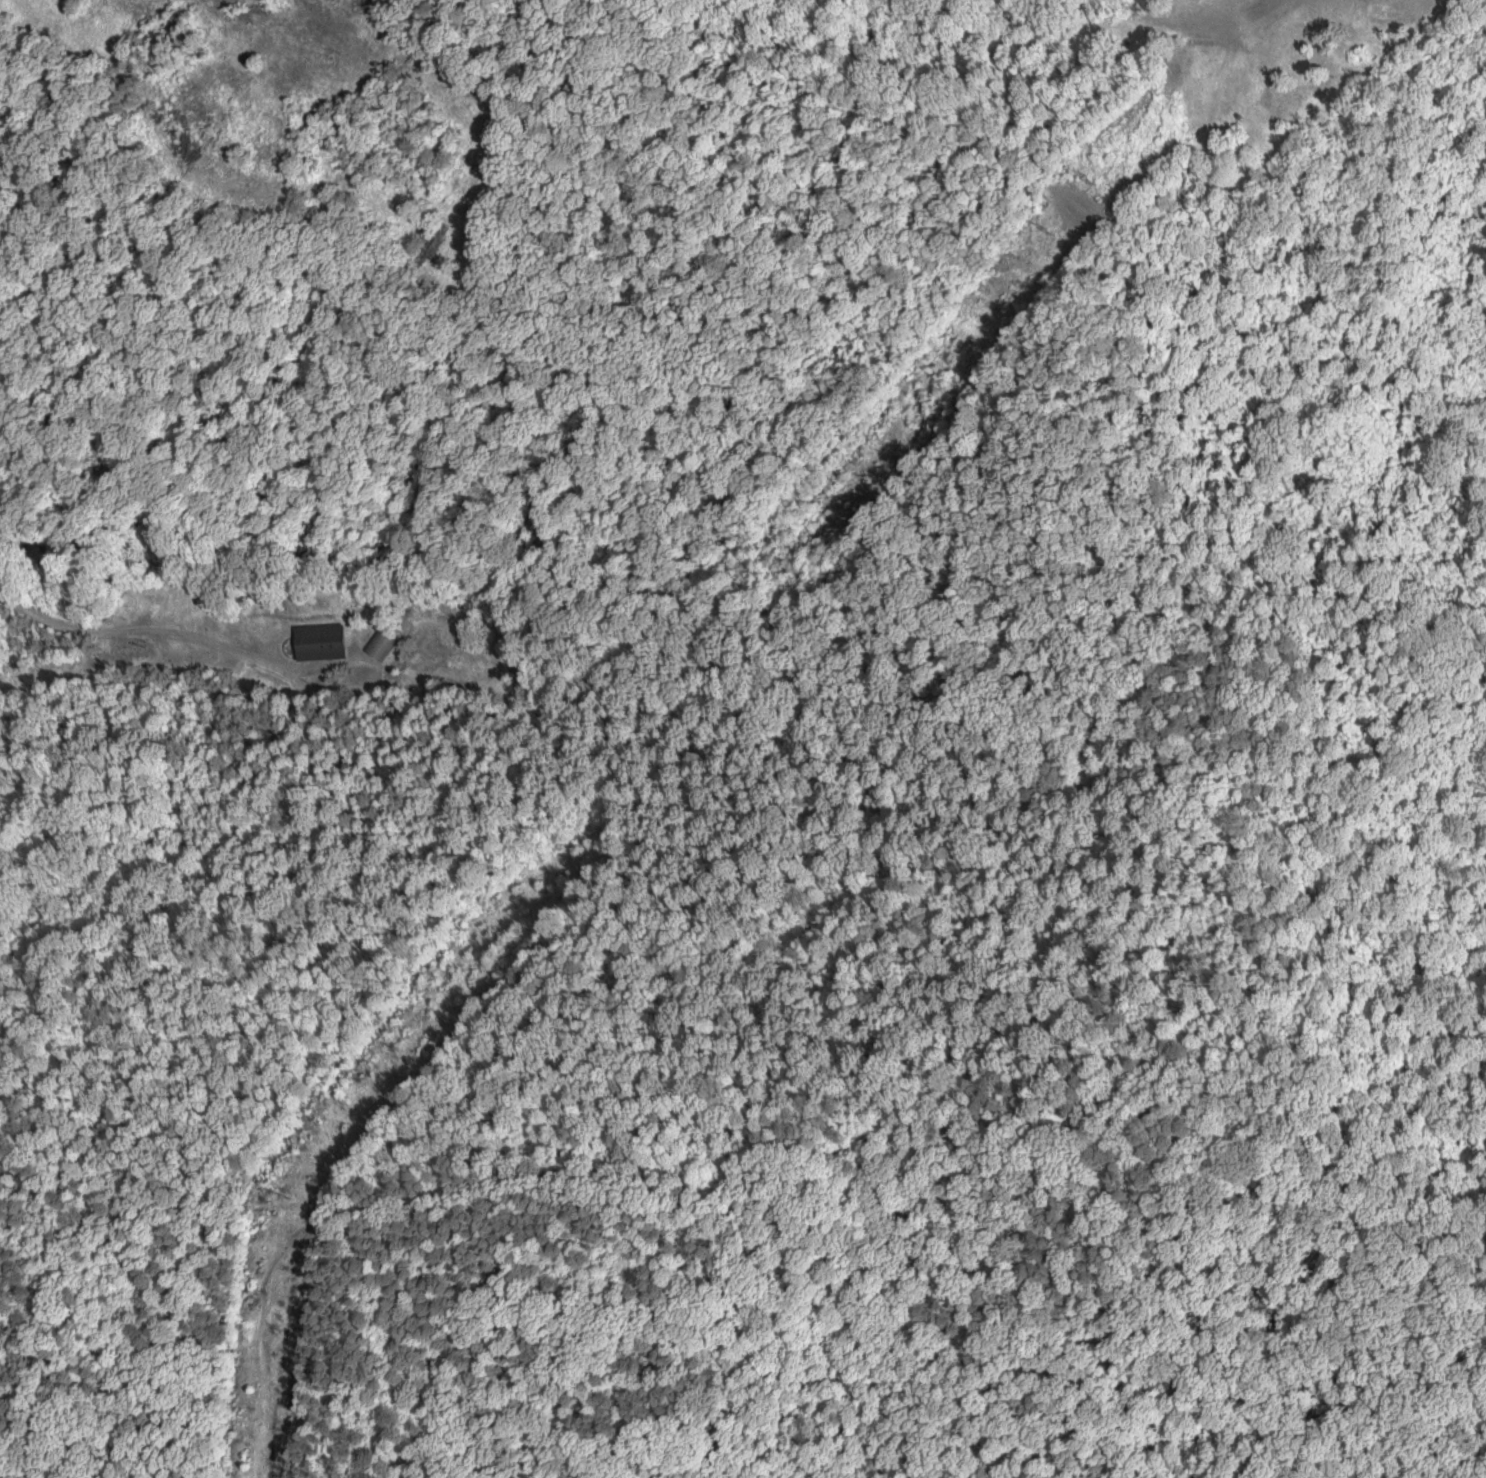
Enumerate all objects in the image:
power tower: (1093, 187)
power tower: (1052, 229)
road: (178, 628)
building: (320, 641)
power tower: (280, 1191)

